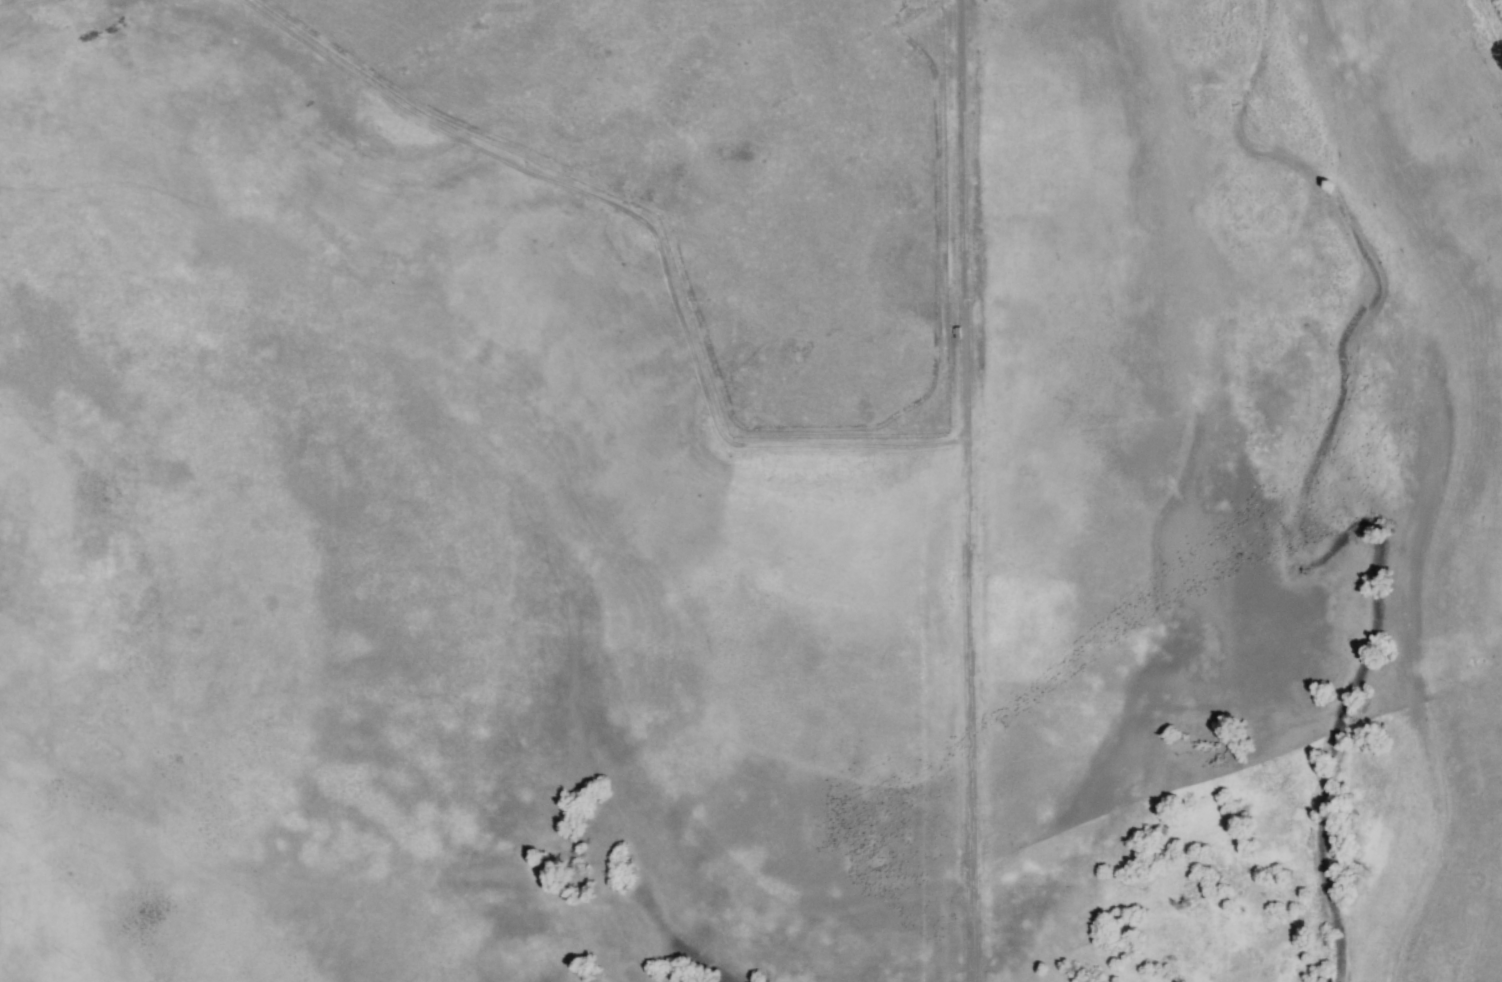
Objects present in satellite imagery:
road: (966, 490)

